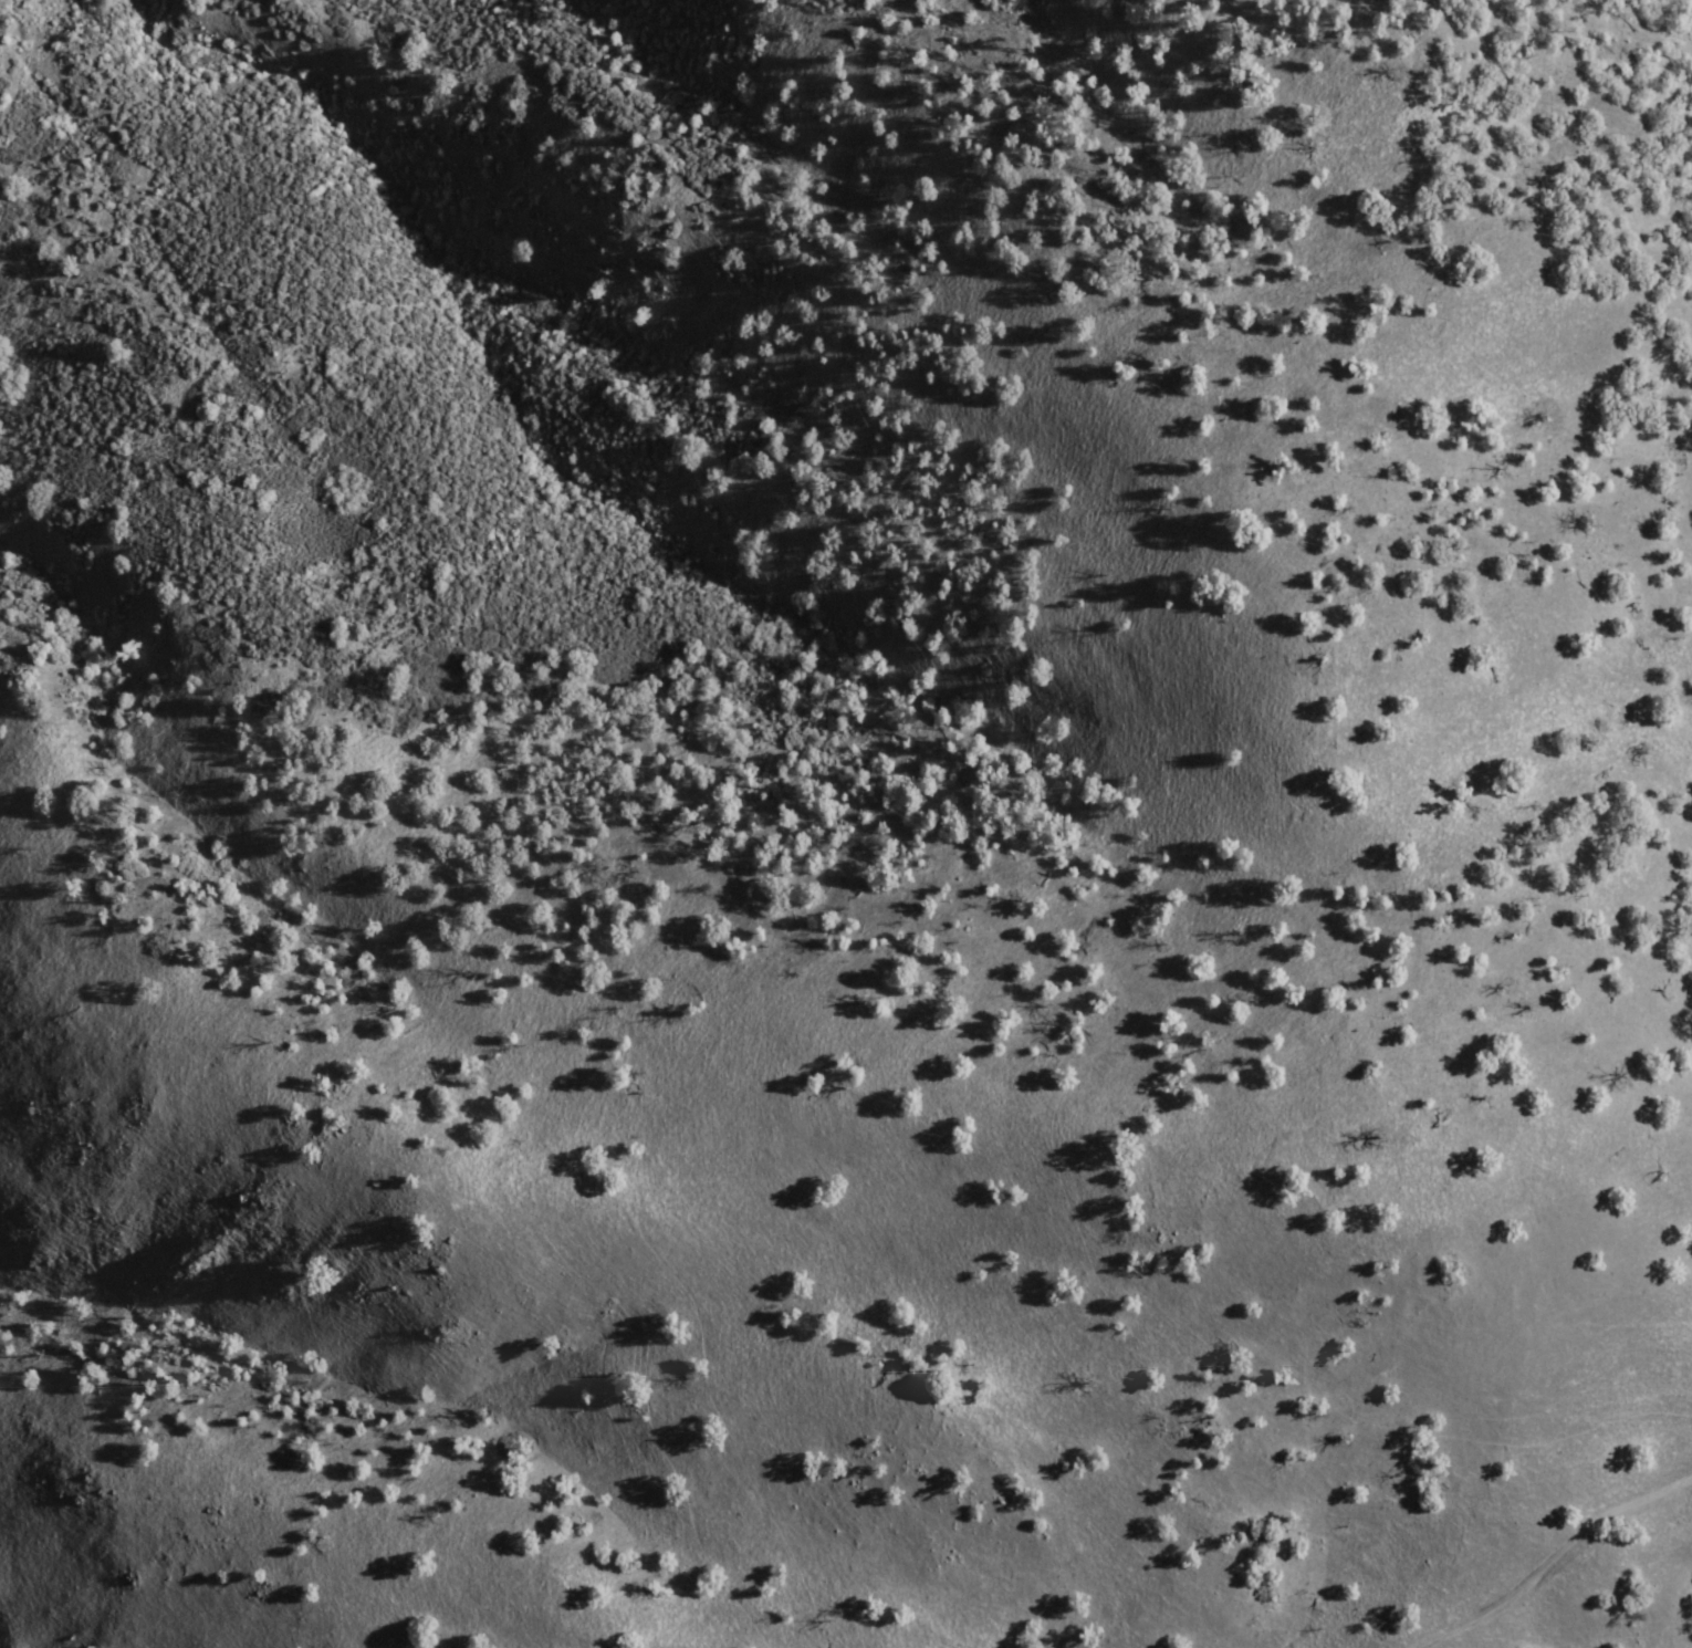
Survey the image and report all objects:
road: (1575, 1577)

